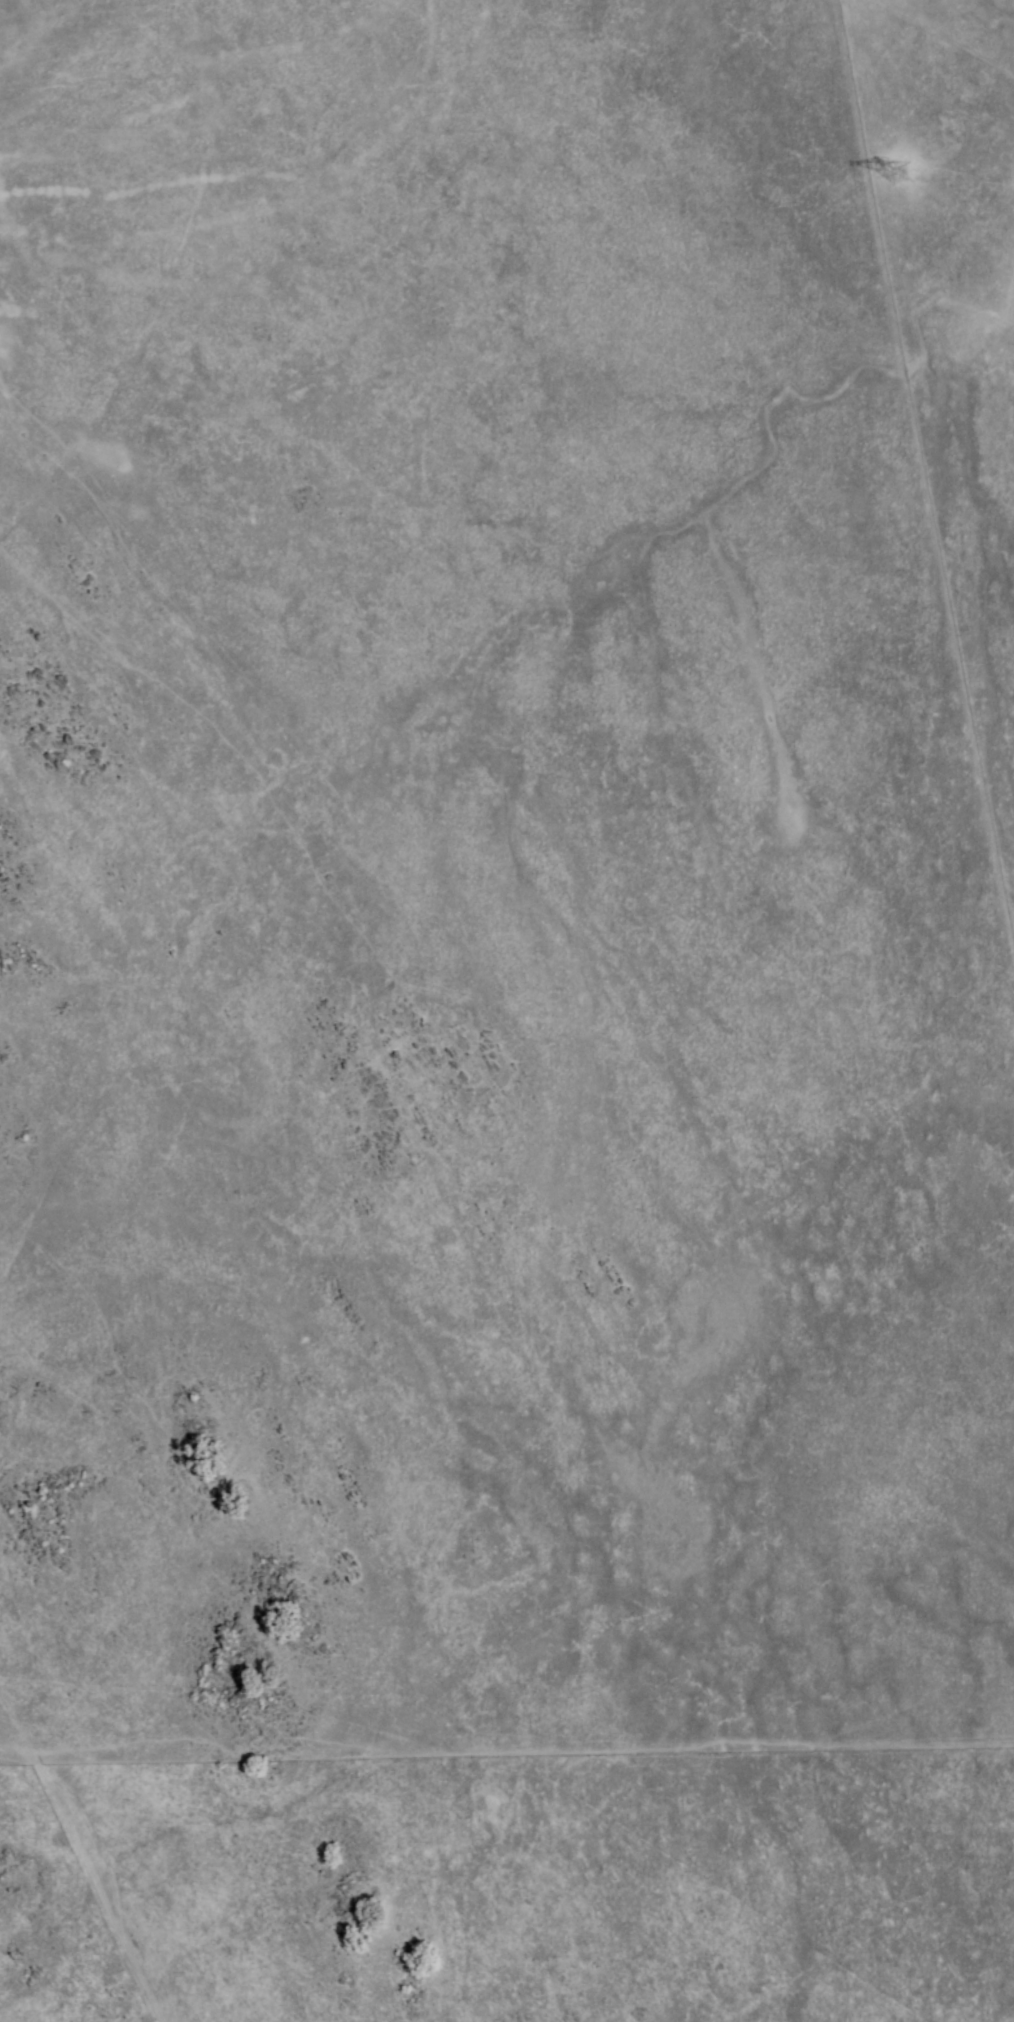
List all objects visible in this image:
power tower: (911, 185)
road: (101, 1865)

